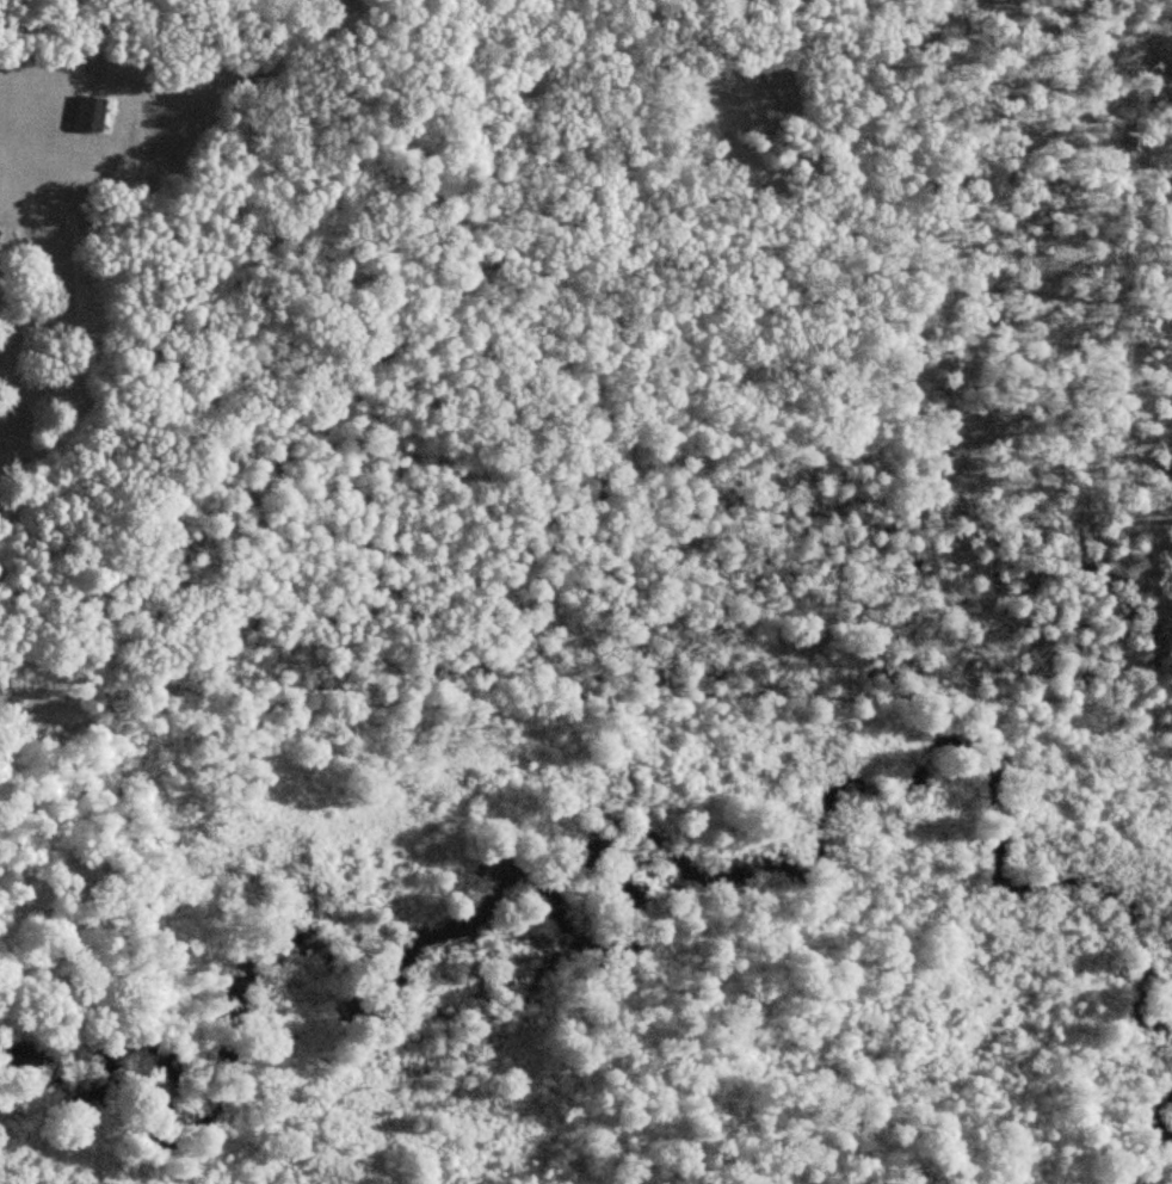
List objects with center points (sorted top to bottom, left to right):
building: (332, 5)
road: (53, 70)
building: (93, 115)

